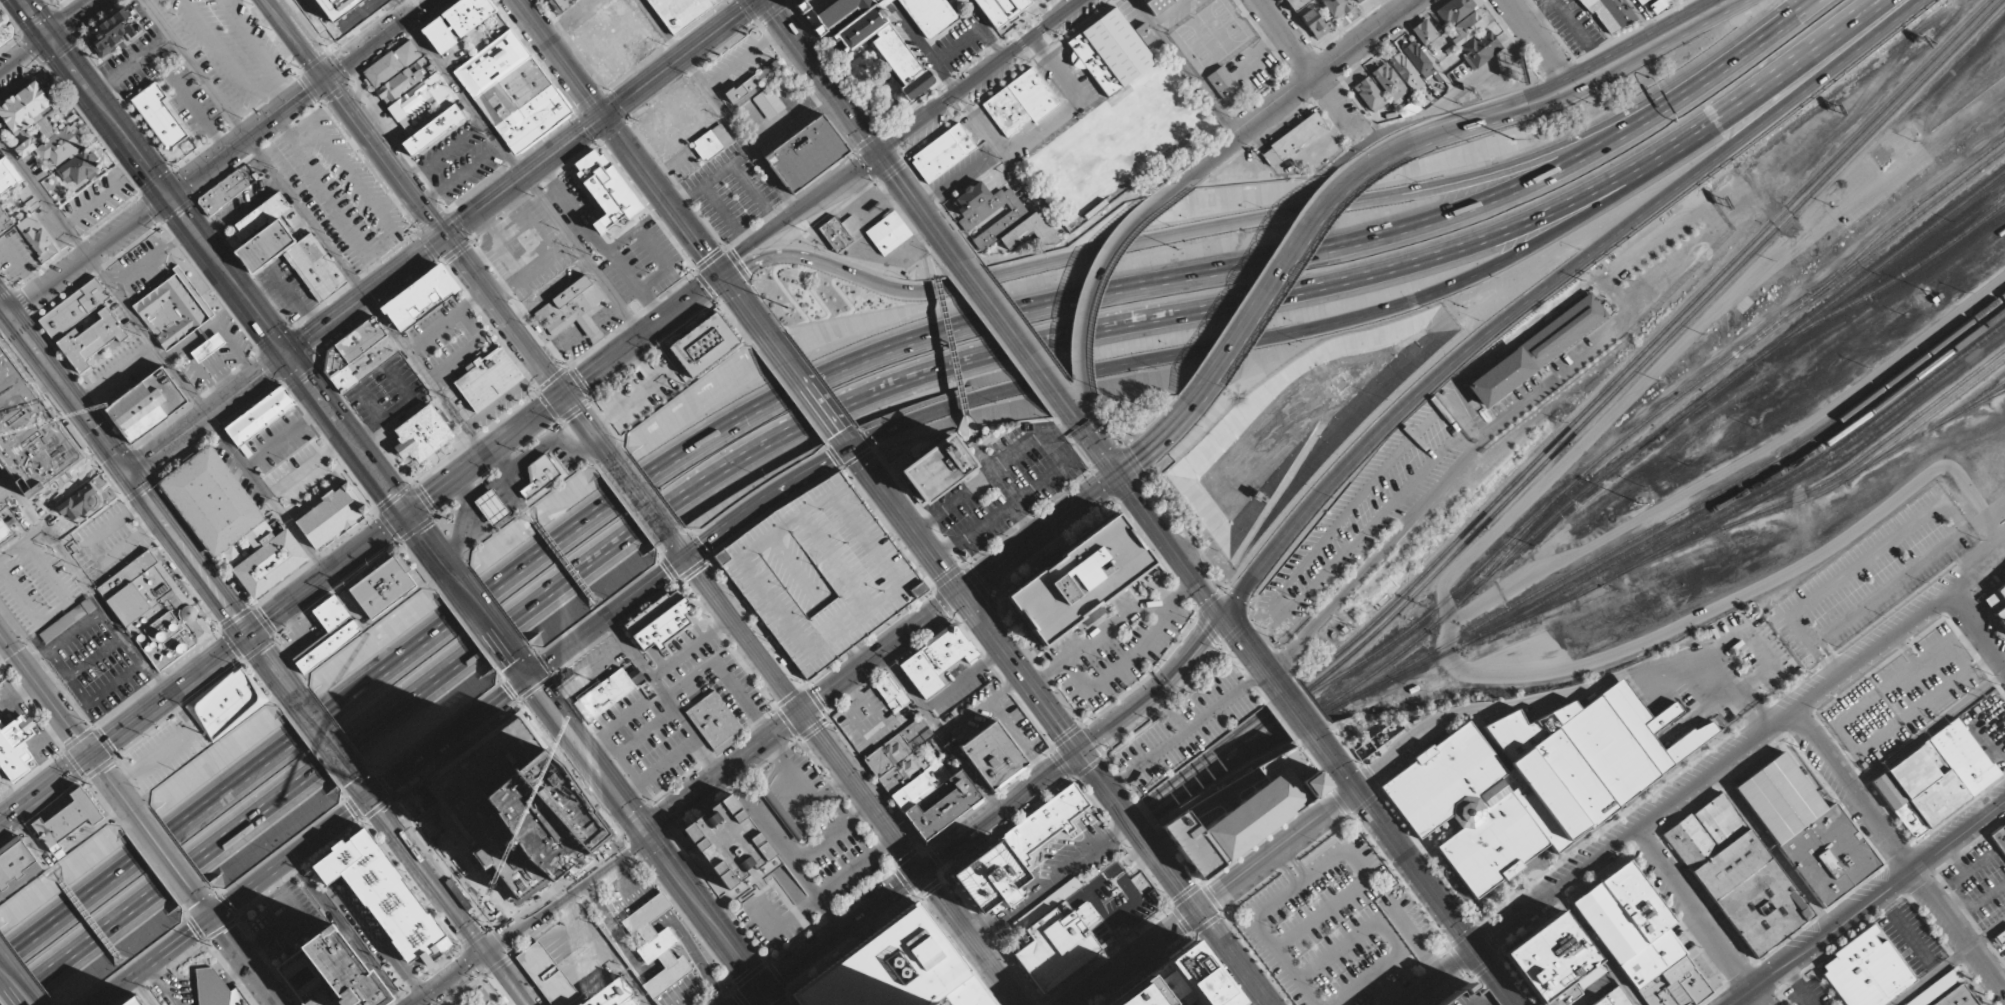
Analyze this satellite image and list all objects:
building: (882, 0)
building: (1356, 1)
building: (1640, 1)
building: (562, 3)
building: (1297, 4)
building: (1156, 5)
building: (1658, 5)
road: (1805, 6)
building: (1337, 7)
building: (1008, 8)
road: (1388, 9)
building: (1456, 10)
building: (679, 12)
building: (832, 14)
building: (1608, 14)
building: (930, 15)
building: (2, 18)
road: (35, 19)
road: (74, 19)
building: (456, 22)
building: (1313, 23)
building: (1468, 27)
road: (302, 28)
building: (114, 32)
building: (1424, 32)
building: (1145, 33)
traffic signals: (50, 38)
road: (377, 39)
road: (1536, 39)
road: (291, 40)
parking lot: (226, 48)
building: (1479, 48)
building: (1109, 52)
road: (25, 57)
parking lot: (137, 59)
building: (1418, 60)
building: (391, 63)
parking lot: (737, 64)
road: (1312, 69)
road: (1329, 69)
road: (1186, 70)
road: (1581, 70)
road: (1788, 70)
building: (769, 72)
building: (1406, 72)
traffic signals: (325, 80)
road: (1604, 80)
building: (1389, 82)
building: (398, 84)
building: (1224, 86)
building: (512, 91)
building: (742, 91)
building: (1369, 95)
building: (768, 102)
building: (1019, 102)
parking lot: (192, 103)
building: (407, 106)
building: (29, 108)
building: (1408, 109)
building: (158, 114)
traffic signals: (604, 117)
road: (601, 118)
building: (433, 130)
road: (861, 130)
road: (897, 135)
road: (247, 139)
building: (1292, 139)
building: (711, 141)
road: (1403, 145)
building: (62, 148)
building: (942, 153)
building: (806, 154)
road: (385, 158)
parking lot: (459, 160)
parking lot: (683, 163)
road: (1205, 165)
building: (76, 171)
building: (8, 176)
road: (650, 180)
building: (606, 189)
parking lot: (338, 190)
building: (223, 192)
parking lot: (730, 192)
road: (44, 196)
parking lot: (98, 198)
traffic signals: (169, 198)
railway: (1901, 213)
road: (1272, 215)
building: (998, 218)
building: (5, 223)
railway: (1905, 225)
railway: (446, 227)
building: (839, 231)
building: (887, 232)
building: (262, 233)
building: (37, 238)
road: (89, 256)
parking lot: (16, 257)
railway: (1879, 264)
building: (314, 267)
parking lot: (141, 271)
traffic signals: (719, 272)
road: (1276, 273)
road: (228, 276)
road: (1548, 283)
road: (1092, 285)
railway: (1883, 285)
parking lot: (287, 289)
building: (426, 289)
road: (367, 296)
railway: (1685, 307)
building: (73, 308)
building: (571, 308)
building: (173, 311)
road: (504, 315)
railway: (1679, 325)
road: (1289, 333)
road: (642, 334)
road: (1018, 338)
building: (93, 339)
building: (712, 339)
railway: (543, 342)
building: (359, 343)
building: (212, 345)
building: (1537, 350)
parking lot: (458, 355)
traffic signals: (288, 356)
building: (368, 362)
road: (841, 366)
parking lot: (121, 372)
road: (115, 373)
building: (494, 377)
parking lot: (385, 394)
traffic signals: (563, 394)
road: (812, 395)
railway: (1977, 400)
building: (148, 404)
railway: (1934, 412)
road: (209, 415)
building: (260, 415)
road: (209, 416)
road: (589, 429)
road: (1095, 430)
building: (421, 434)
road: (780, 435)
road: (846, 439)
parking lot: (279, 440)
traffic signals: (853, 448)
railway: (1604, 451)
road: (485, 454)
railway: (1880, 456)
railway: (1819, 458)
building: (935, 467)
road: (124, 468)
railway: (1609, 470)
parking lot: (300, 472)
traffic signals: (1119, 474)
building: (539, 475)
traffic signals: (130, 476)
parking lot: (64, 478)
railway: (1738, 478)
railway: (1824, 479)
railway: (1740, 492)
railway: (648, 497)
road: (765, 498)
road: (1086, 498)
road: (643, 500)
building: (79, 503)
gas station: (496, 503)
building: (493, 506)
traffic signals: (407, 514)
building: (334, 515)
road: (1149, 515)
railway: (142, 517)
building: (232, 520)
road: (907, 521)
building: (4, 532)
railway: (1515, 541)
road: (429, 544)
road: (678, 548)
traffic signals: (686, 559)
railway: (180, 573)
road: (328, 574)
building: (821, 574)
parking garage: (821, 574)
building: (392, 579)
building: (1081, 579)
road: (1951, 584)
traffic signals: (961, 594)
building: (1997, 603)
building: (154, 610)
railway: (1538, 610)
traffic signals: (1222, 614)
parking lot: (63, 617)
road: (484, 618)
road: (607, 619)
building: (659, 621)
building: (336, 628)
railway: (1425, 631)
traffic signals: (249, 635)
parking lot: (301, 635)
road: (744, 635)
road: (1995, 651)
road: (882, 653)
road: (1251, 653)
building: (937, 659)
road: (273, 668)
road: (523, 671)
road: (1020, 672)
railway: (1393, 672)
railway: (794, 677)
traffic signals: (529, 679)
railway: (1327, 682)
railway: (1368, 689)
road: (1158, 690)
building: (607, 692)
building: (891, 693)
railway: (1329, 703)
building: (226, 704)
railway: (808, 709)
railway: (1265, 711)
traffic signals: (803, 712)
road: (1296, 712)
building: (713, 720)
road: (66, 721)
road: (131, 723)
building: (1525, 729)
railway: (1253, 730)
road: (326, 737)
road: (450, 738)
railway: (315, 745)
building: (16, 749)
traffic signals: (1079, 750)
parking lot: (164, 751)
building: (993, 753)
traffic signals: (91, 754)
road: (586, 756)
building: (1594, 763)
road: (723, 772)
railway: (1217, 774)
building: (1441, 778)
building: (1935, 778)
building: (1310, 785)
road: (363, 786)
traffic signals: (1355, 790)
road: (862, 791)
road: (1678, 795)
railway: (1108, 797)
traffic signals: (372, 798)
building: (1780, 798)
building: (943, 807)
building: (1467, 810)
road: (1000, 811)
road: (8, 815)
building: (1253, 815)
road: (8, 819)
building: (68, 820)
building: (1720, 820)
building: (1043, 824)
building: (2003, 827)
traffic signals: (644, 833)
building: (1999, 838)
building: (729, 841)
building: (1692, 841)
building: (1192, 843)
building: (1491, 845)
road: (1899, 851)
building: (1829, 854)
road: (166, 855)
building: (16, 860)
building: (1730, 864)
road: (1414, 868)
traffic signals: (922, 872)
road: (430, 875)
road: (1176, 876)
building: (989, 879)
parking lot: (1981, 883)
railway: (431, 892)
road: (566, 892)
road: (1212, 895)
building: (385, 897)
road: (234, 901)
road: (1870, 901)
building: (1763, 907)
building: (1624, 912)
road: (1700, 916)
traffic signals: (213, 918)
road: (708, 919)
parking lot: (1335, 925)
parking lot: (1915, 936)
road: (971, 938)
building: (1999, 938)
road: (833, 939)
building: (656, 944)
building: (1058, 945)
railway: (829, 949)
traffic signals: (1476, 950)
road: (238, 952)
traffic signals: (488, 952)
parking lot: (2004, 953)
building: (1551, 956)
building: (1651, 957)
building: (356, 958)
road: (1949, 963)
building: (898, 970)
building: (1867, 970)
road: (452, 978)
road: (507, 978)
building: (1193, 980)
building: (568, 981)
road: (475, 982)
railway: (798, 982)
road: (15, 983)
building: (1936, 988)
building: (217, 989)
road: (145, 990)
traffic signals: (762, 991)
building: (1140, 994)
building: (1563, 996)
building: (1957, 997)
building: (1614, 998)
building: (1464, 999)
railway: (512, 1001)
building: (128, 1004)

